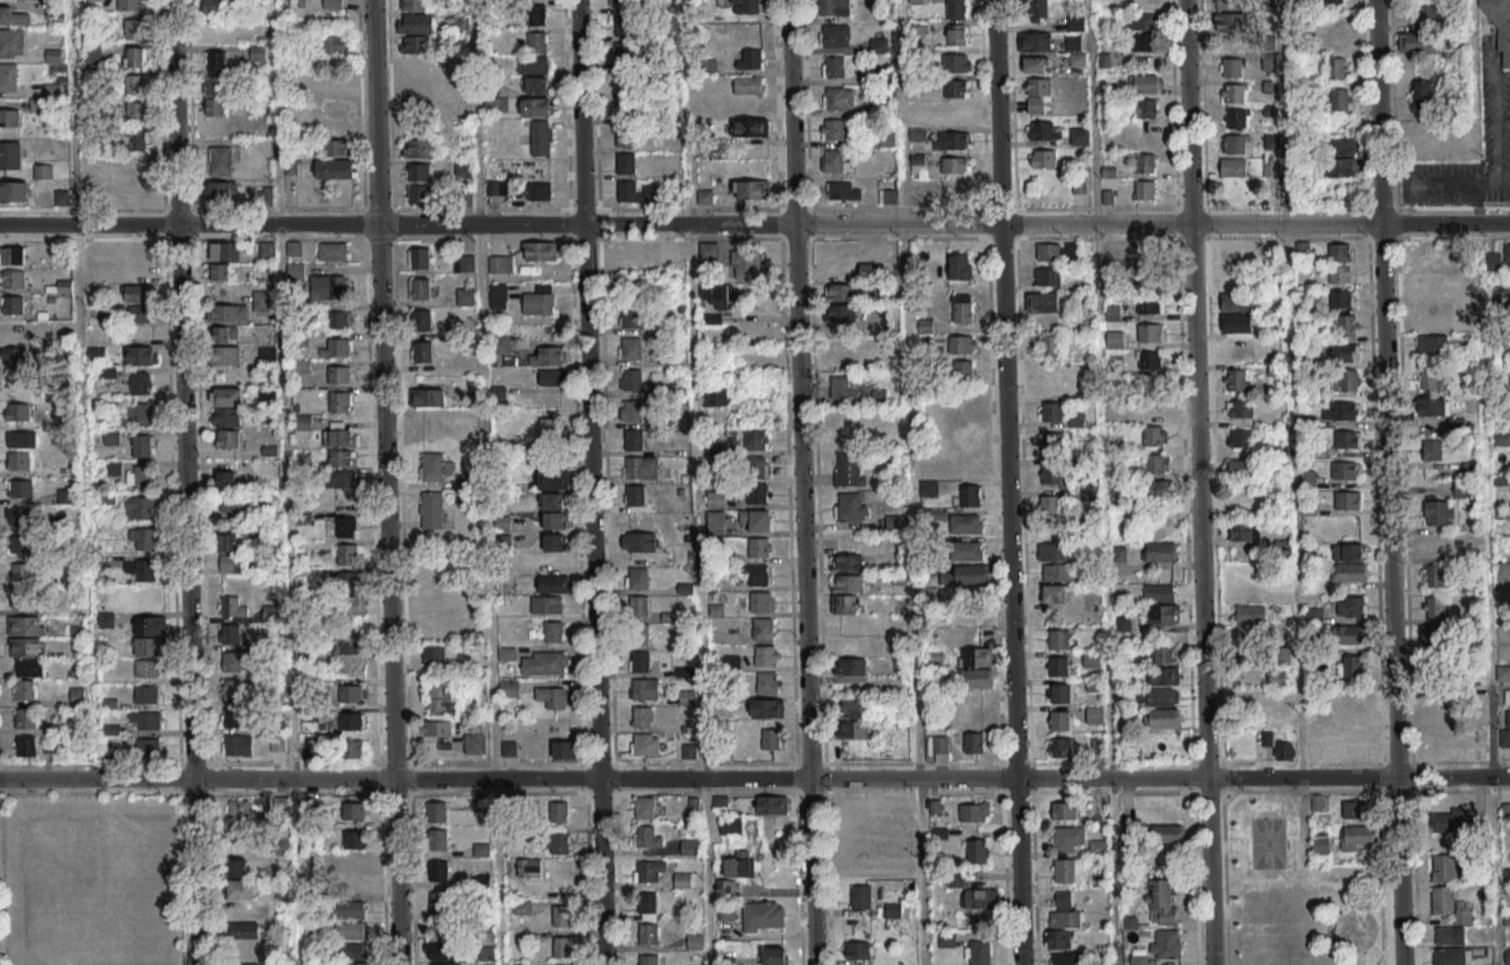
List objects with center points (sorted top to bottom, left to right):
building: (1138, 1)
building: (1335, 1)
building: (624, 3)
building: (94, 4)
building: (333, 4)
building: (131, 5)
building: (413, 5)
building: (1229, 5)
building: (212, 6)
building: (746, 6)
building: (833, 7)
building: (55, 9)
building: (956, 9)
building: (1038, 10)
building: (1424, 13)
building: (535, 15)
building: (13, 16)
building: (1140, 21)
building: (1229, 22)
building: (415, 23)
building: (460, 24)
building: (1075, 24)
building: (625, 25)
building: (1499, 25)
building: (133, 29)
building: (956, 34)
building: (835, 35)
building: (12, 42)
building: (536, 42)
building: (1036, 42)
building: (1143, 42)
building: (1417, 43)
building: (333, 44)
building: (415, 44)
building: (878, 45)
building: (622, 53)
building: (53, 55)
building: (135, 57)
building: (748, 59)
building: (90, 60)
building: (215, 61)
building: (956, 62)
building: (1270, 63)
building: (533, 64)
building: (1036, 64)
building: (416, 65)
building: (834, 67)
building: (1231, 67)
building: (1338, 68)
building: (8, 77)
building: (624, 80)
building: (1146, 83)
building: (134, 84)
building: (415, 85)
building: (537, 85)
building: (748, 85)
building: (956, 88)
building: (1233, 93)
building: (1421, 93)
building: (1038, 95)
building: (215, 96)
building: (334, 96)
building: (838, 99)
building: (1340, 99)
building: (491, 104)
building: (535, 106)
building: (624, 107)
building: (1146, 108)
building: (136, 112)
building: (957, 114)
building: (9, 117)
building: (1236, 118)
building: (746, 126)
building: (1420, 126)
building: (336, 127)
building: (832, 129)
building: (1044, 130)
building: (626, 135)
building: (1079, 136)
building: (540, 137)
building: (137, 139)
building: (953, 139)
building: (1235, 144)
building: (1341, 146)
building: (337, 147)
building: (420, 147)
building: (10, 155)
building: (1043, 158)
building: (220, 160)
building: (835, 161)
building: (626, 163)
building: (1145, 163)
building: (954, 164)
building: (137, 167)
building: (1231, 167)
building: (1341, 167)
building: (333, 169)
building: (44, 171)
building: (464, 171)
building: (418, 172)
building: (750, 189)
building: (14, 190)
building: (222, 190)
building: (1144, 190)
building: (539, 191)
building: (843, 191)
building: (267, 192)
building: (630, 192)
building: (418, 194)
building: (888, 196)
road: (755, 225)
building: (294, 248)
building: (679, 249)
building: (709, 250)
building: (224, 251)
building: (332, 251)
building: (539, 251)
building: (634, 251)
building: (1057, 252)
building: (1340, 252)
building: (1507, 252)
building: (12, 255)
building: (418, 257)
building: (1140, 257)
building: (1493, 260)
building: (137, 263)
building: (463, 263)
building: (500, 263)
building: (746, 264)
building: (960, 266)
building: (296, 270)
building: (219, 271)
building: (871, 271)
building: (1340, 274)
building: (1047, 276)
building: (12, 278)
building: (1465, 280)
building: (1427, 281)
building: (65, 286)
building: (328, 287)
building: (420, 288)
building: (840, 292)
building: (138, 293)
building: (717, 295)
building: (465, 296)
building: (497, 296)
building: (1342, 299)
building: (262, 300)
building: (539, 300)
building: (1507, 301)
building: (1042, 302)
building: (1237, 302)
building: (1465, 303)
building: (12, 304)
building: (1148, 305)
building: (962, 308)
building: (228, 312)
building: (1112, 312)
building: (140, 314)
building: (840, 314)
building: (1428, 316)
building: (337, 317)
building: (632, 317)
building: (718, 318)
building: (421, 320)
building: (1237, 323)
building: (925, 325)
building: (14, 330)
building: (1151, 332)
building: (225, 334)
building: (1115, 339)
building: (1345, 339)
building: (503, 343)
building: (1431, 343)
building: (962, 344)
building: (1051, 345)
building: (337, 347)
building: (630, 348)
building: (421, 351)
building: (838, 351)
building: (142, 354)
building: (267, 354)
building: (225, 355)
building: (14, 356)
building: (548, 356)
building: (1509, 356)
building: (1150, 360)
building: (302, 366)
building: (963, 370)
building: (339, 374)
building: (551, 377)
building: (1433, 378)
building: (631, 379)
building: (1237, 380)
building: (1345, 380)
building: (140, 383)
building: (841, 387)
building: (713, 396)
building: (427, 397)
building: (879, 399)
building: (339, 402)
building: (1151, 405)
building: (1431, 406)
building: (226, 407)
building: (1239, 408)
building: (18, 411)
building: (1052, 411)
building: (1342, 411)
building: (630, 412)
building: (138, 414)
building: (1455, 424)
building: (302, 426)
building: (549, 427)
building: (423, 428)
building: (337, 433)
building: (1154, 435)
building: (112, 437)
building: (228, 438)
building: (1239, 438)
building: (22, 439)
building: (1346, 439)
building: (634, 440)
building: (756, 440)
building: (1051, 443)
building: (142, 446)
building: (1432, 450)
building: (342, 458)
building: (19, 460)
building: (1156, 463)
building: (434, 467)
building: (756, 467)
building: (114, 468)
building: (641, 468)
building: (1241, 468)
building: (848, 470)
building: (1346, 470)
building: (1051, 474)
building: (139, 477)
building: (1307, 478)
building: (341, 479)
building: (553, 479)
building: (226, 480)
road: (184, 482)
road: (385, 482)
road: (486, 482)
road: (590, 482)
road: (696, 482)
road: (800, 482)
road: (1007, 482)
road: (1198, 482)
road: (1387, 482)
building: (1503, 482)
building: (928, 487)
building: (21, 488)
building: (1159, 489)
building: (757, 494)
building: (66, 495)
building: (634, 495)
building: (970, 495)
building: (1119, 496)
building: (716, 499)
road: (1297, 500)
building: (1348, 500)
road: (1485, 501)
building: (1049, 503)
building: (232, 504)
building: (139, 507)
building: (850, 507)
building: (431, 510)
building: (1438, 512)
building: (18, 516)
building: (757, 519)
building: (555, 520)
building: (895, 522)
building: (715, 523)
building: (965, 523)
building: (346, 526)
building: (1244, 531)
building: (143, 539)
building: (640, 541)
building: (228, 542)
building: (23, 544)
building: (1434, 544)
building: (758, 547)
building: (966, 551)
building: (1160, 551)
building: (1348, 551)
building: (1053, 552)
building: (347, 554)
building: (847, 562)
building: (234, 564)
building: (142, 569)
building: (1502, 570)
building: (22, 571)
building: (1059, 572)
building: (1349, 572)
building: (756, 573)
building: (971, 574)
building: (1435, 576)
building: (637, 577)
building: (344, 579)
building: (553, 583)
building: (848, 584)
building: (1055, 593)
building: (1161, 593)
building: (1502, 593)
building: (434, 595)
building: (25, 599)
building: (761, 601)
building: (546, 604)
building: (845, 604)
building: (231, 606)
building: (351, 606)
building: (638, 606)
building: (1350, 606)
building: (1433, 607)
building: (1162, 614)
building: (1250, 614)
building: (149, 625)
building: (26, 626)
building: (433, 627)
building: (763, 628)
building: (554, 631)
building: (230, 633)
building: (1351, 634)
building: (1058, 639)
building: (344, 645)
building: (849, 645)
building: (26, 646)
building: (150, 646)
building: (434, 655)
building: (766, 655)
building: (1165, 655)
building: (974, 657)
building: (1091, 659)
building: (639, 661)
building: (231, 662)
building: (544, 663)
building: (1276, 665)
building: (1058, 666)
building: (1352, 666)
building: (28, 667)
building: (852, 667)
building: (147, 668)
building: (1164, 676)
building: (975, 678)
building: (767, 682)
building: (232, 689)
building: (644, 689)
building: (26, 690)
building: (351, 693)
building: (1060, 693)
building: (146, 694)
building: (77, 695)
building: (1157, 696)
building: (1507, 696)
building: (441, 697)
building: (552, 697)
building: (767, 708)
building: (852, 708)
building: (1095, 715)
building: (233, 717)
building: (642, 717)
building: (26, 718)
building: (1164, 718)
building: (1437, 718)
building: (1508, 718)
building: (145, 720)
building: (1060, 720)
building: (351, 721)
building: (435, 728)
building: (853, 729)
building: (771, 739)
building: (1348, 741)
building: (973, 743)
building: (474, 744)
building: (645, 744)
building: (940, 744)
building: (26, 745)
building: (238, 745)
building: (1060, 747)
building: (148, 748)
building: (352, 749)
building: (562, 750)
building: (1284, 750)
road: (1382, 762)
road: (755, 779)
road: (1111, 792)
building: (720, 802)
building: (1318, 802)
building: (771, 804)
building: (644, 807)
building: (1354, 809)
building: (353, 811)
building: (558, 811)
building: (1063, 811)
building: (436, 812)
building: (974, 812)
building: (240, 817)
building: (1447, 823)
building: (1478, 824)
building: (731, 825)
building: (897, 825)
building: (1168, 833)
building: (646, 837)
building: (1067, 838)
building: (1359, 838)
building: (353, 839)
building: (437, 839)
building: (560, 841)
building: (1320, 842)
building: (689, 847)
building: (855, 847)
building: (1097, 847)
road: (1194, 849)
building: (977, 850)
building: (740, 864)
building: (352, 865)
building: (237, 867)
building: (855, 867)
building: (529, 868)
building: (1444, 868)
building: (438, 870)
building: (648, 870)
building: (1063, 870)
road: (923, 872)
building: (1505, 875)
road: (1224, 878)
building: (682, 879)
building: (483, 880)
building: (955, 880)
building: (243, 888)
building: (351, 889)
building: (725, 889)
park: (1296, 891)
building: (860, 897)
building: (980, 898)
building: (438, 901)
building: (1161, 902)
building: (647, 905)
building: (1451, 905)
building: (522, 906)
building: (350, 910)
building: (1064, 912)
building: (726, 913)
building: (561, 916)
building: (763, 916)
building: (1506, 919)
building: (244, 930)
building: (351, 930)
building: (647, 934)
building: (1449, 935)
building: (1057, 939)
building: (694, 941)
building: (1166, 944)
building: (563, 947)
building: (352, 950)
building: (859, 950)
building: (442, 951)
building: (979, 952)
building: (774, 956)
building: (1450, 956)
building: (1508, 958)
building: (1065, 959)
building: (1138, 959)
building: (648, 960)
building: (246, 963)
building: (360, 963)
building: (518, 963)
building: (445, 964)

